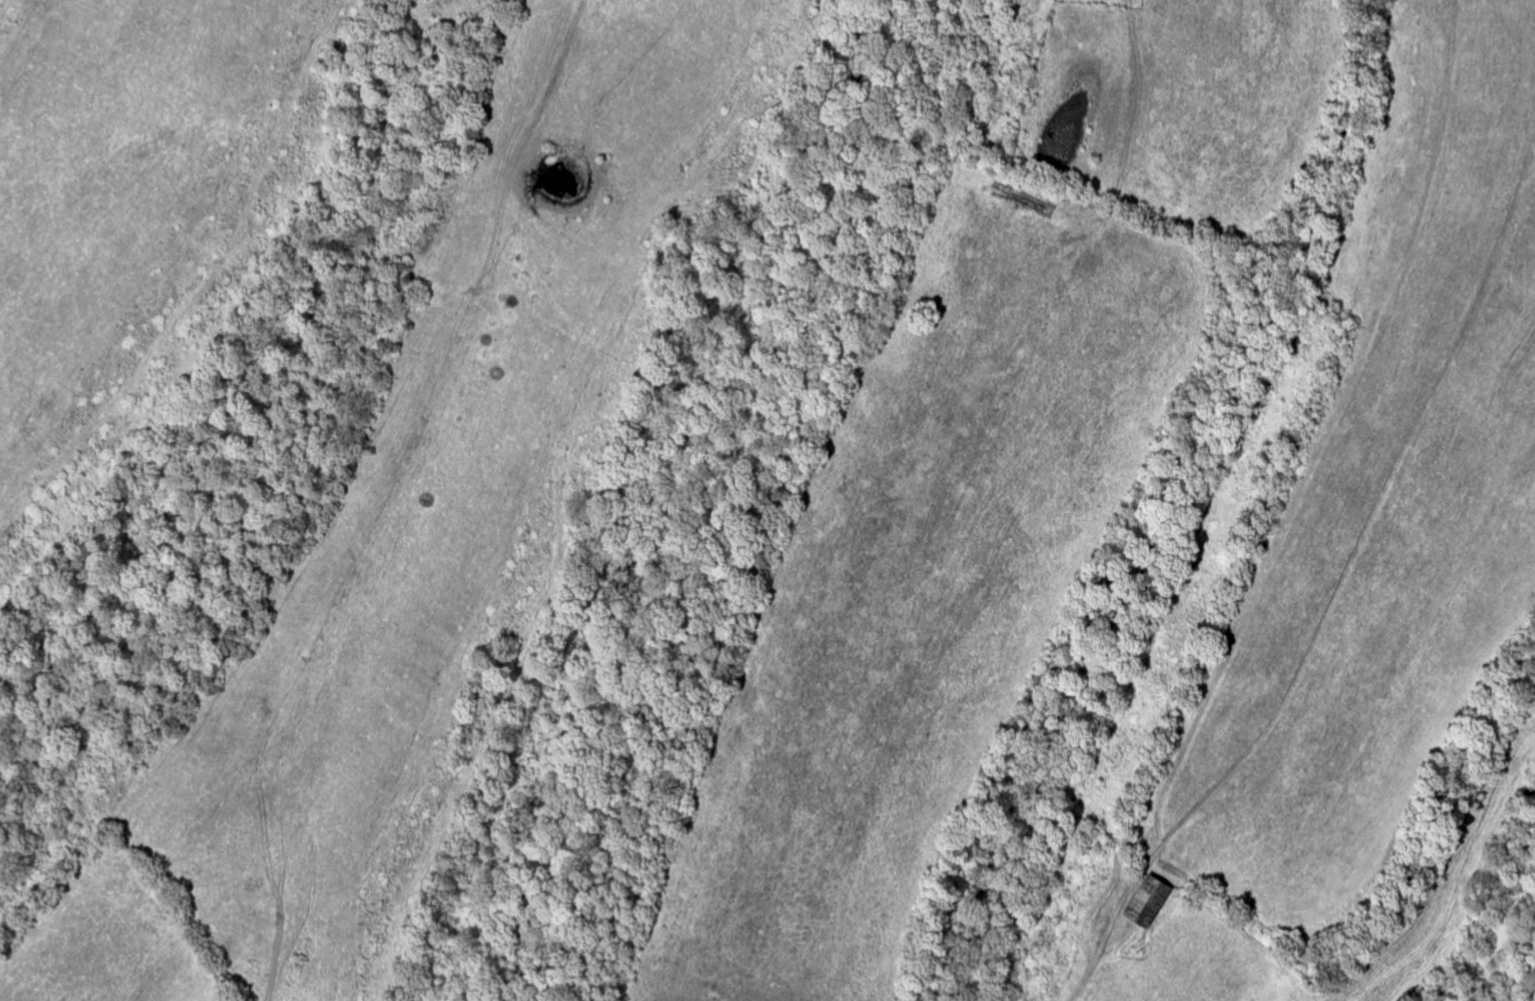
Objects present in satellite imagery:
building: (1152, 902)

